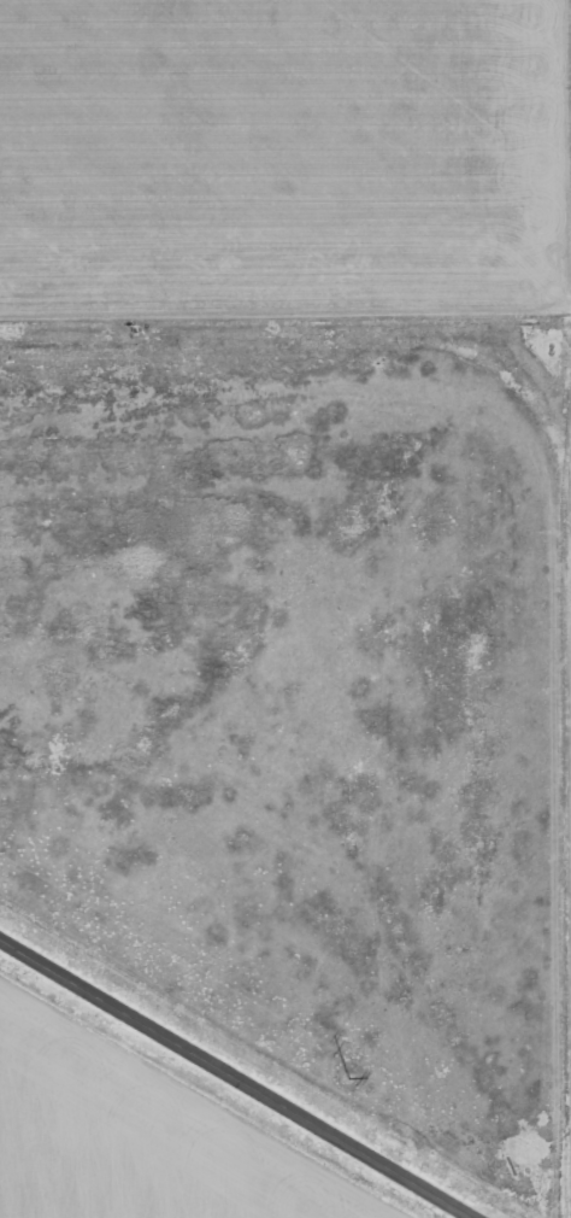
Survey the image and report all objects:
road: (285, 329)
road: (242, 1076)
power tower: (346, 1078)
building: (526, 1146)

